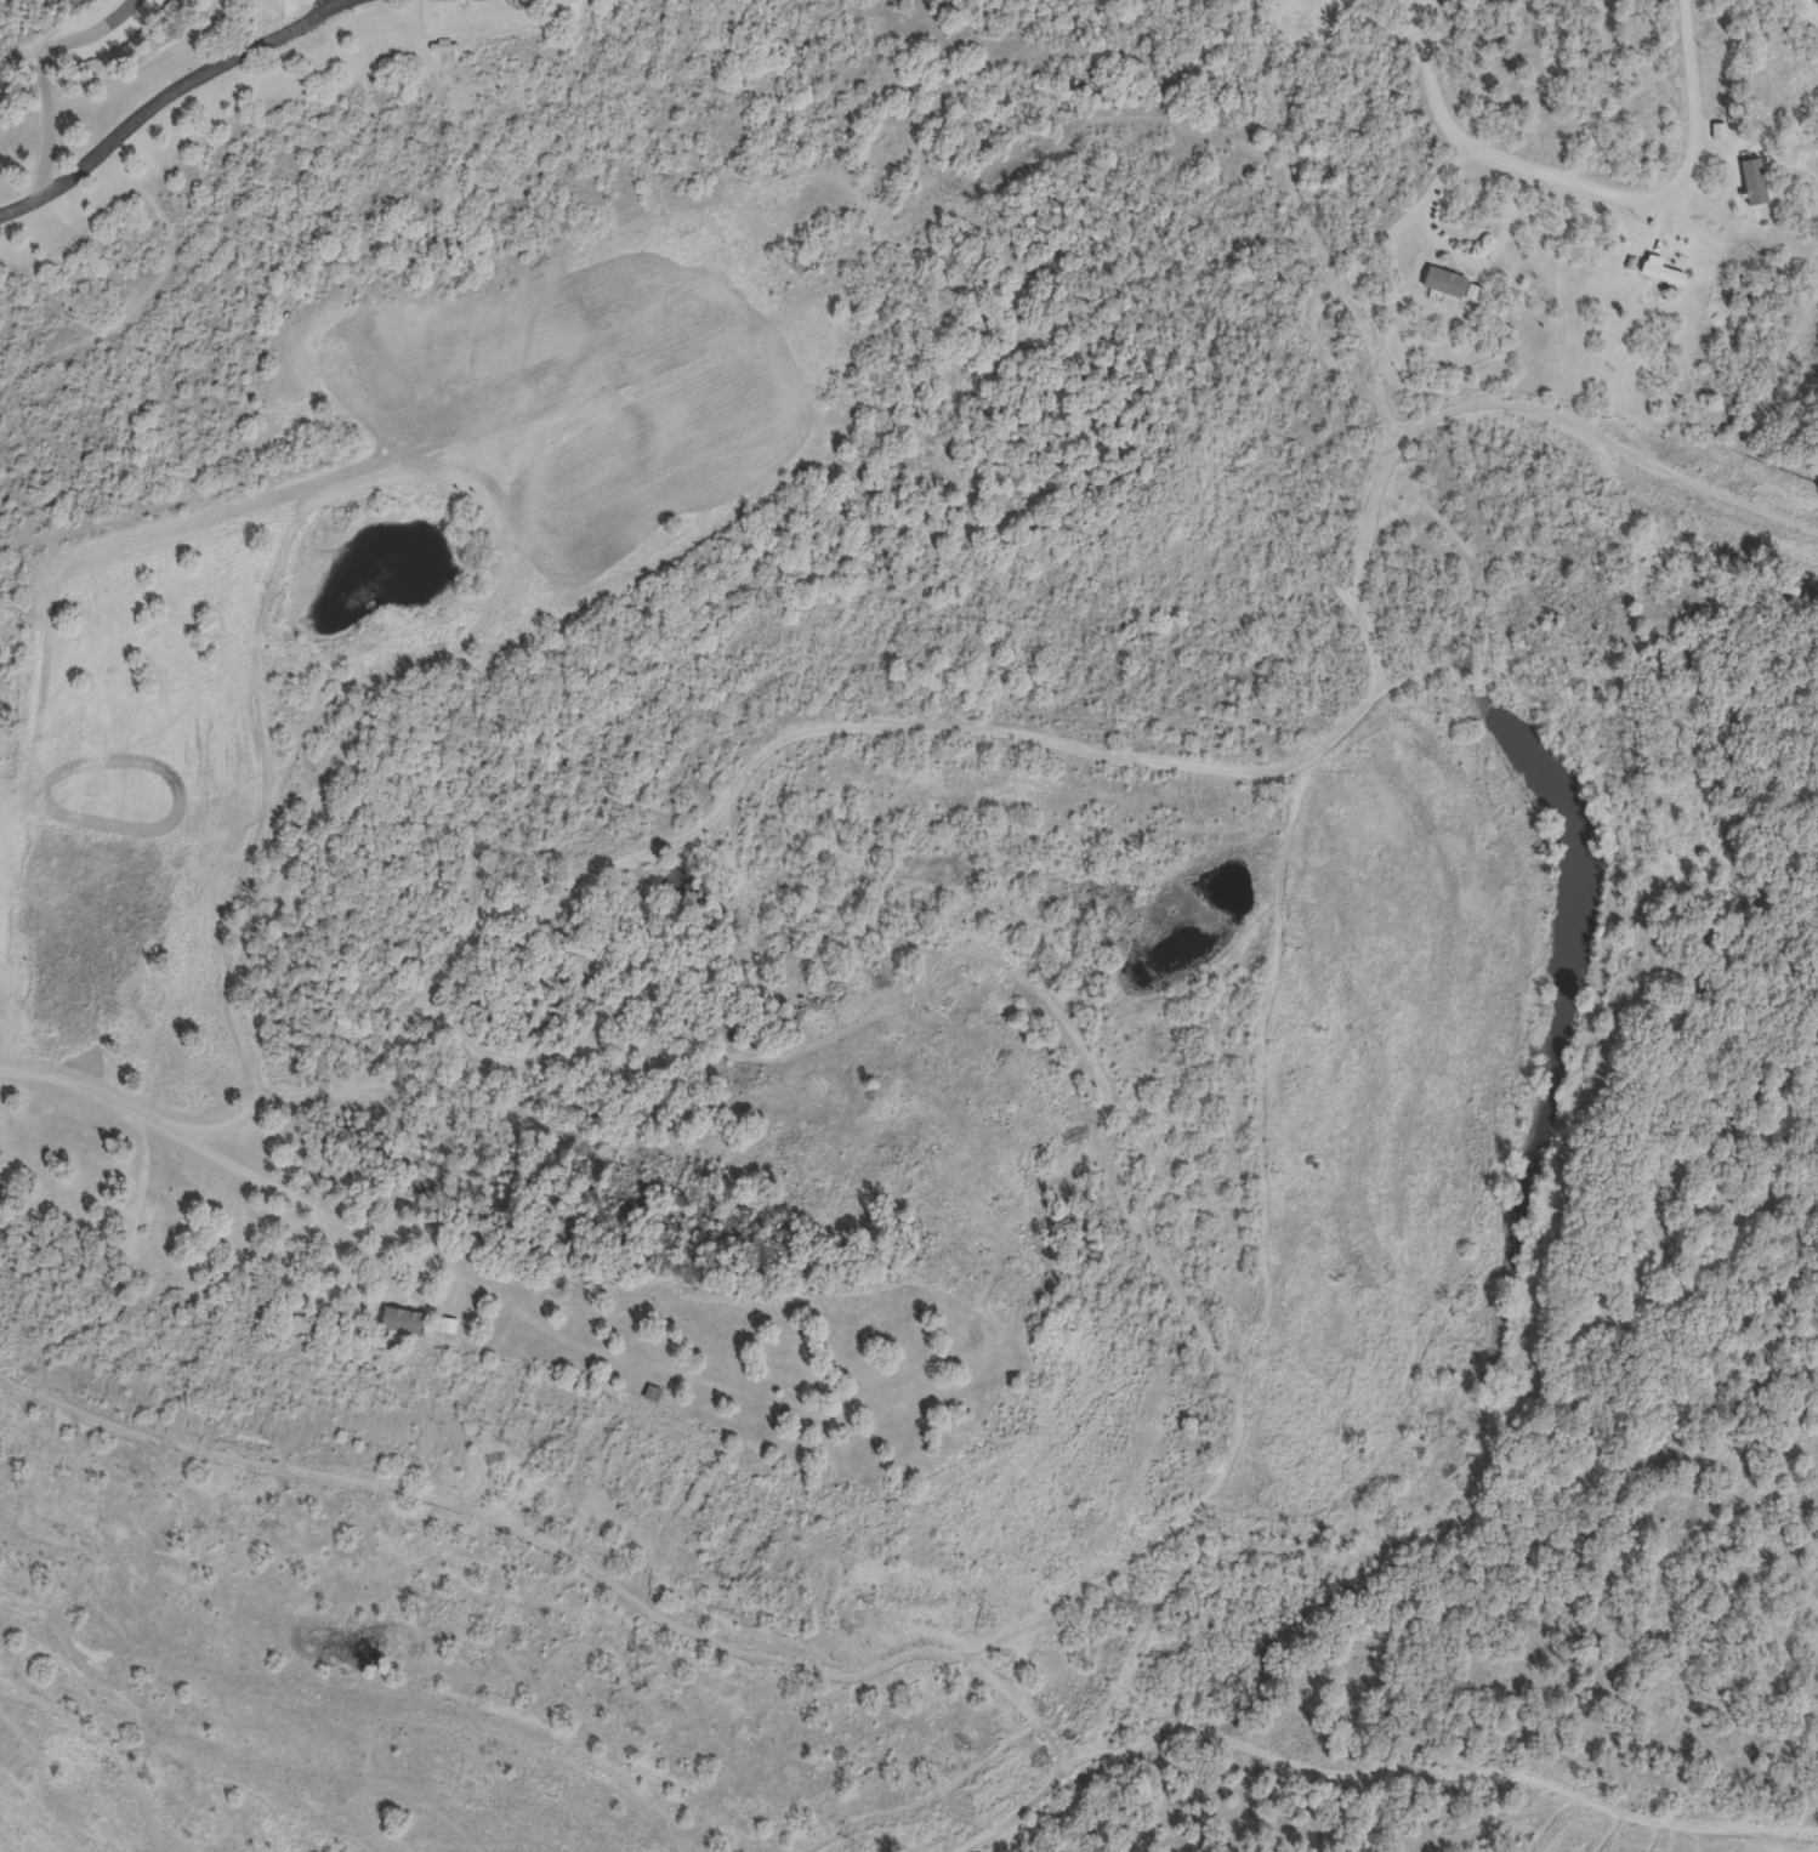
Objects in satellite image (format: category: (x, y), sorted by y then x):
building: (1526, 17)
building: (1502, 75)
road: (167, 93)
road: (1455, 129)
road: (1699, 160)
building: (1752, 180)
road: (1453, 246)
building: (1661, 269)
building: (1450, 284)
road: (1385, 397)
road: (1610, 434)
building: (157, 1262)
building: (403, 1320)
road: (1374, 1767)

